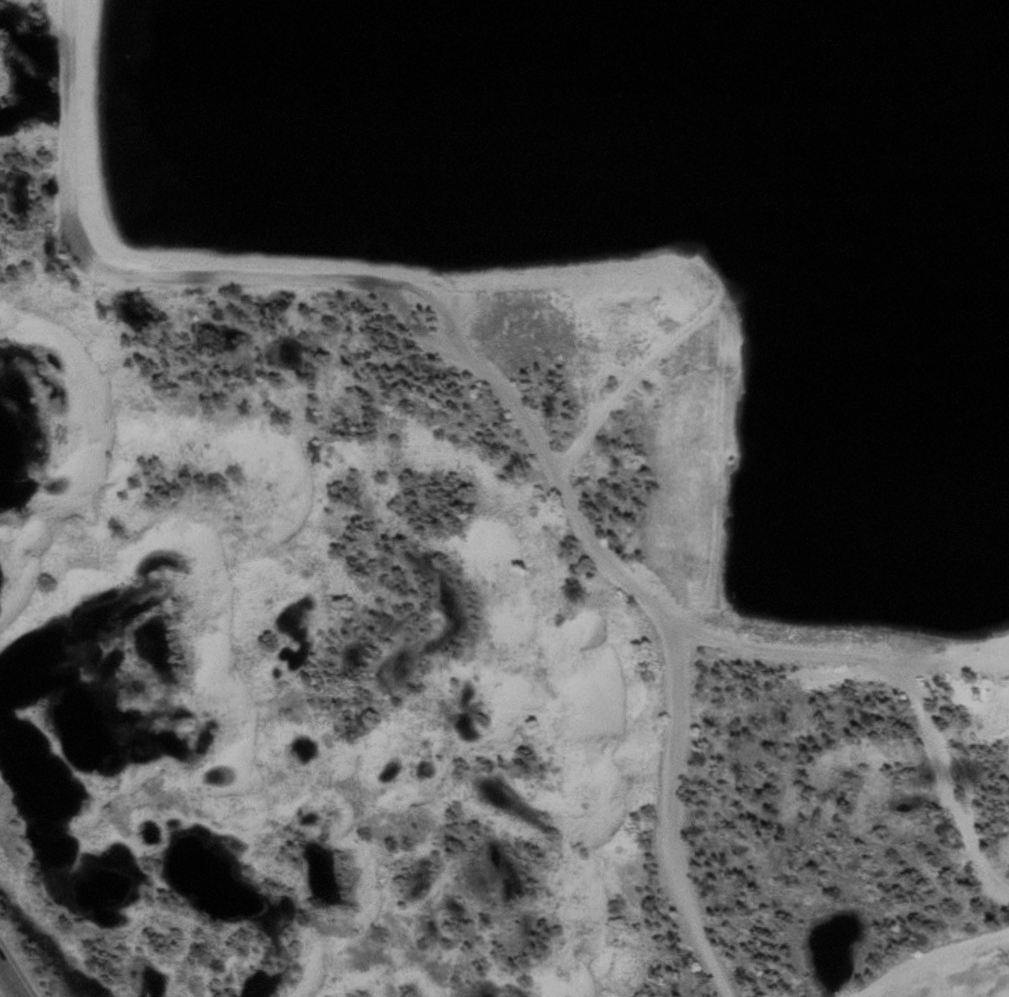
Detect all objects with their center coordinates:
park: (504, 498)
road: (12, 976)

